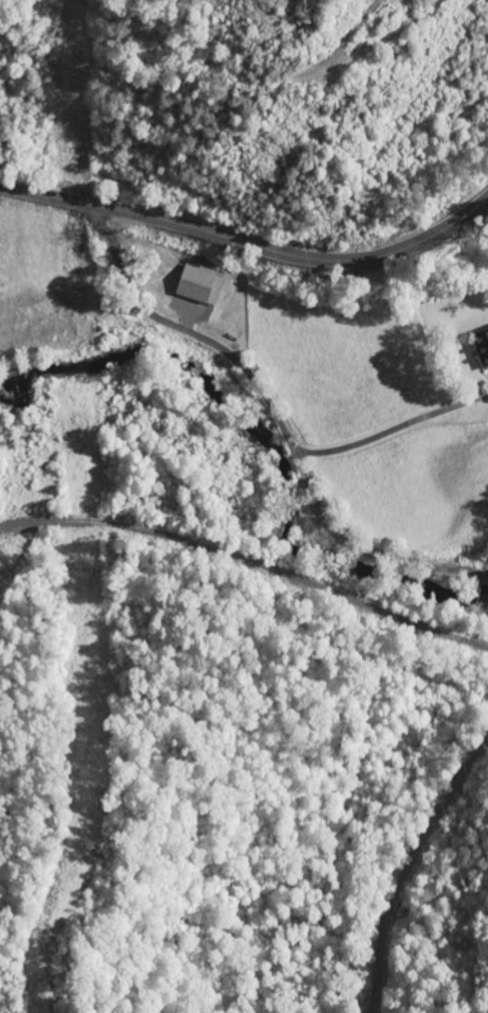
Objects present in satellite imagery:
road: (249, 244)
building: (480, 348)
road: (267, 421)
road: (390, 433)
road: (249, 556)
railway: (244, 560)

